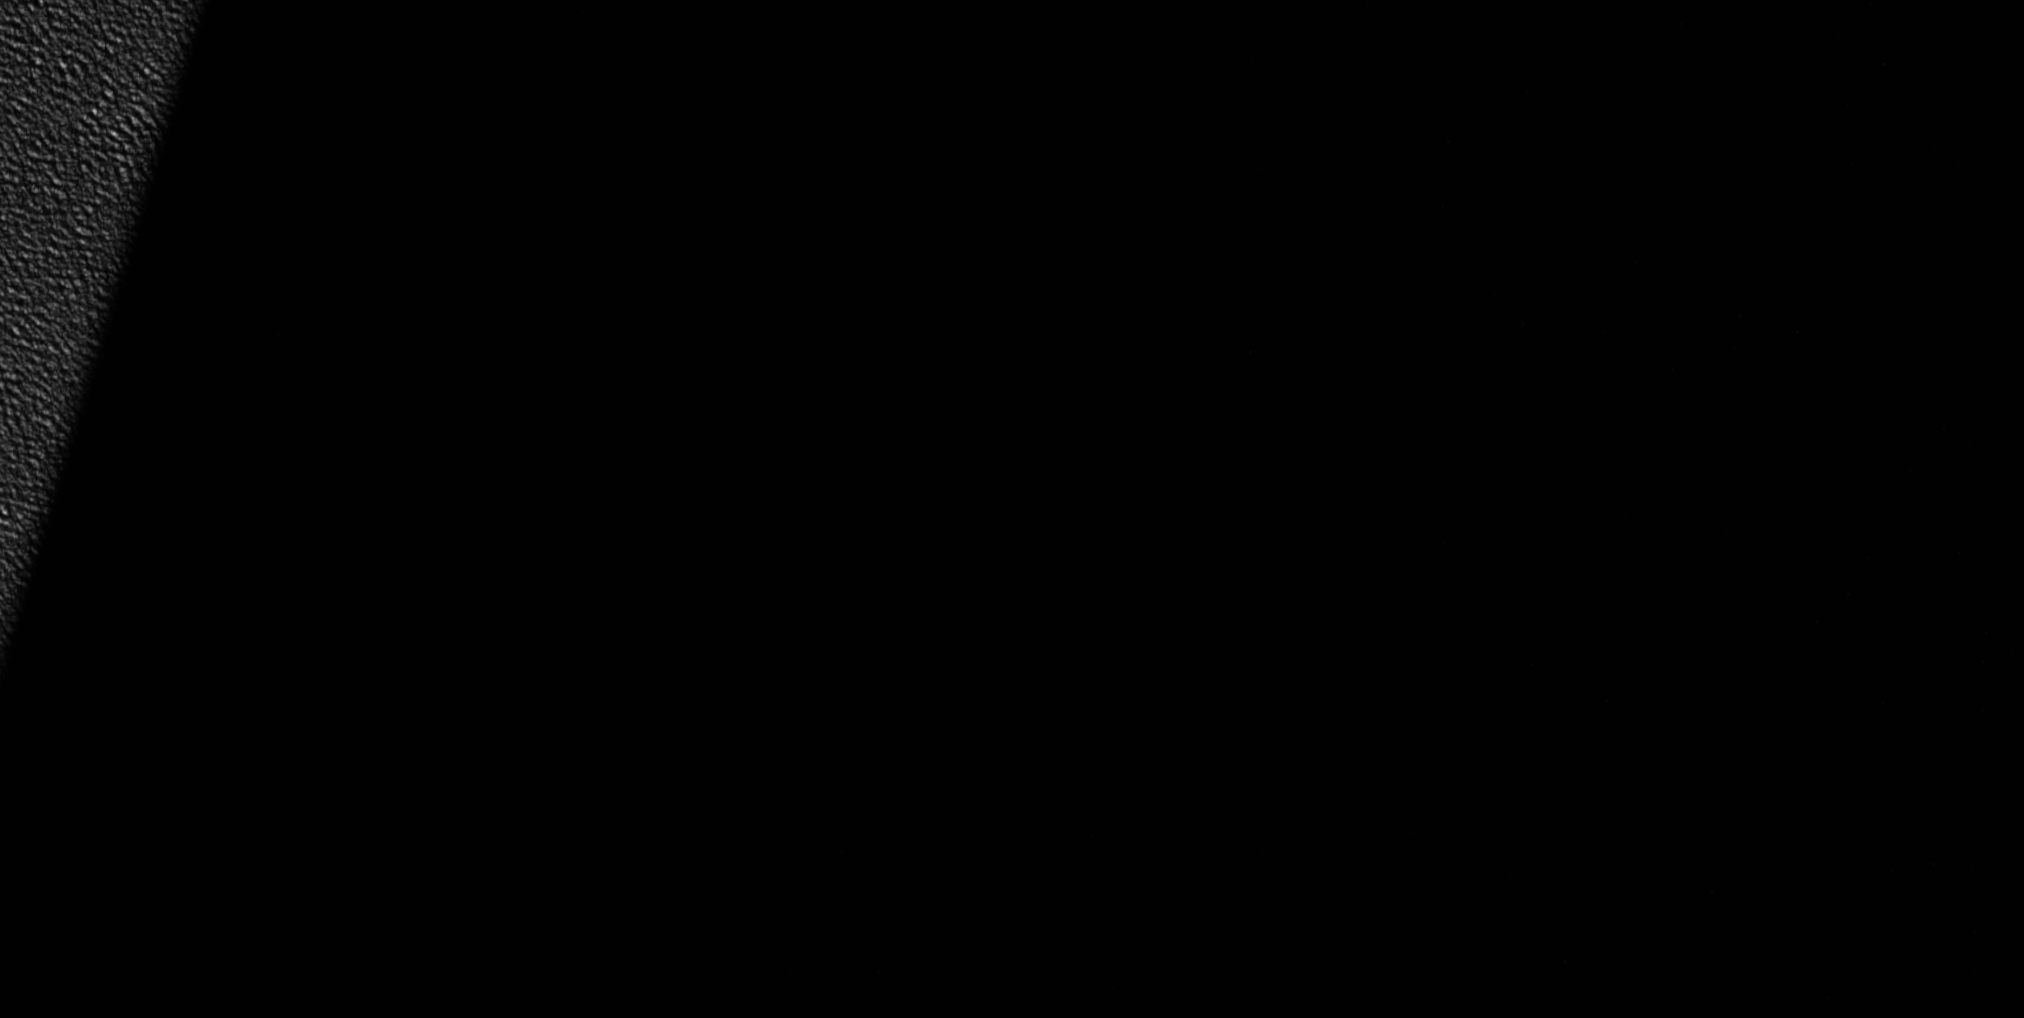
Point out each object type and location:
river: (1267, 428)

